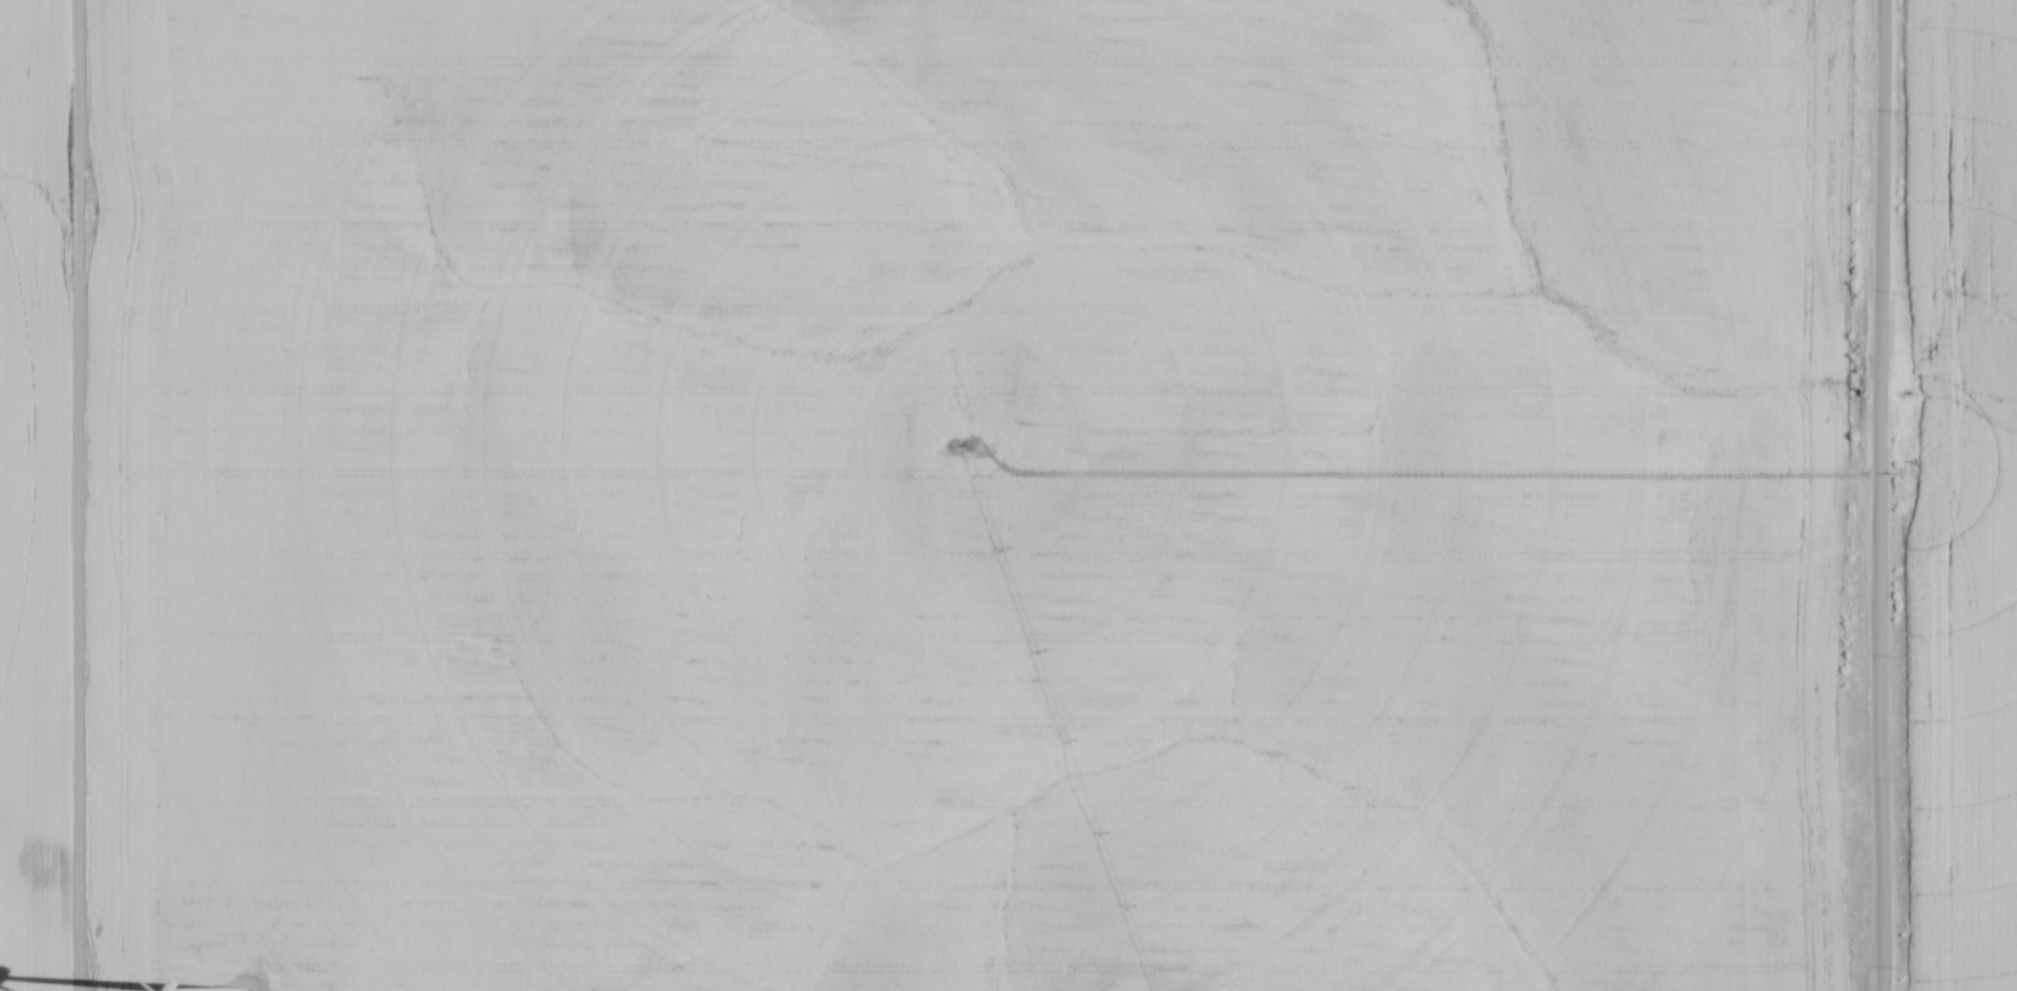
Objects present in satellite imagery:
road: (77, 495)
road: (1876, 495)

